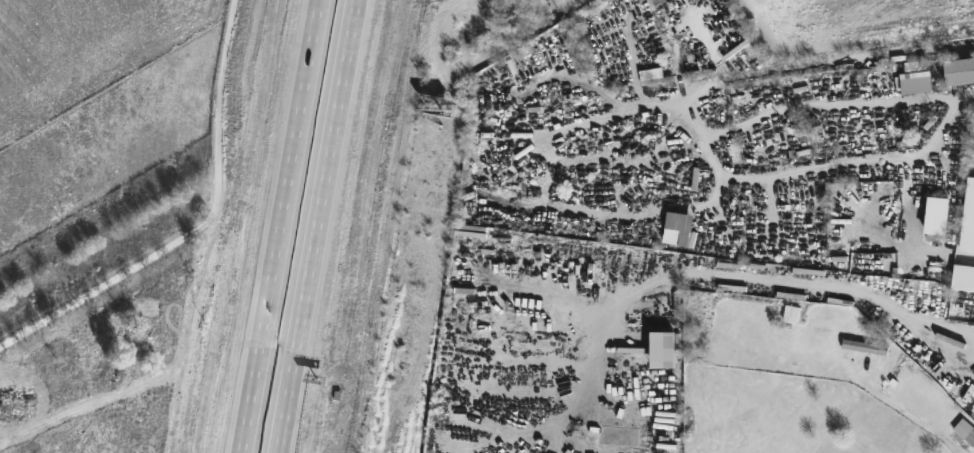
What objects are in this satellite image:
building: (916, 65)
building: (959, 69)
building: (937, 214)
road: (203, 226)
road: (279, 226)
road: (317, 226)
building: (151, 274)
building: (963, 276)
road: (786, 284)
building: (142, 314)
building: (865, 346)
building: (973, 357)
building: (971, 369)
road: (904, 415)

